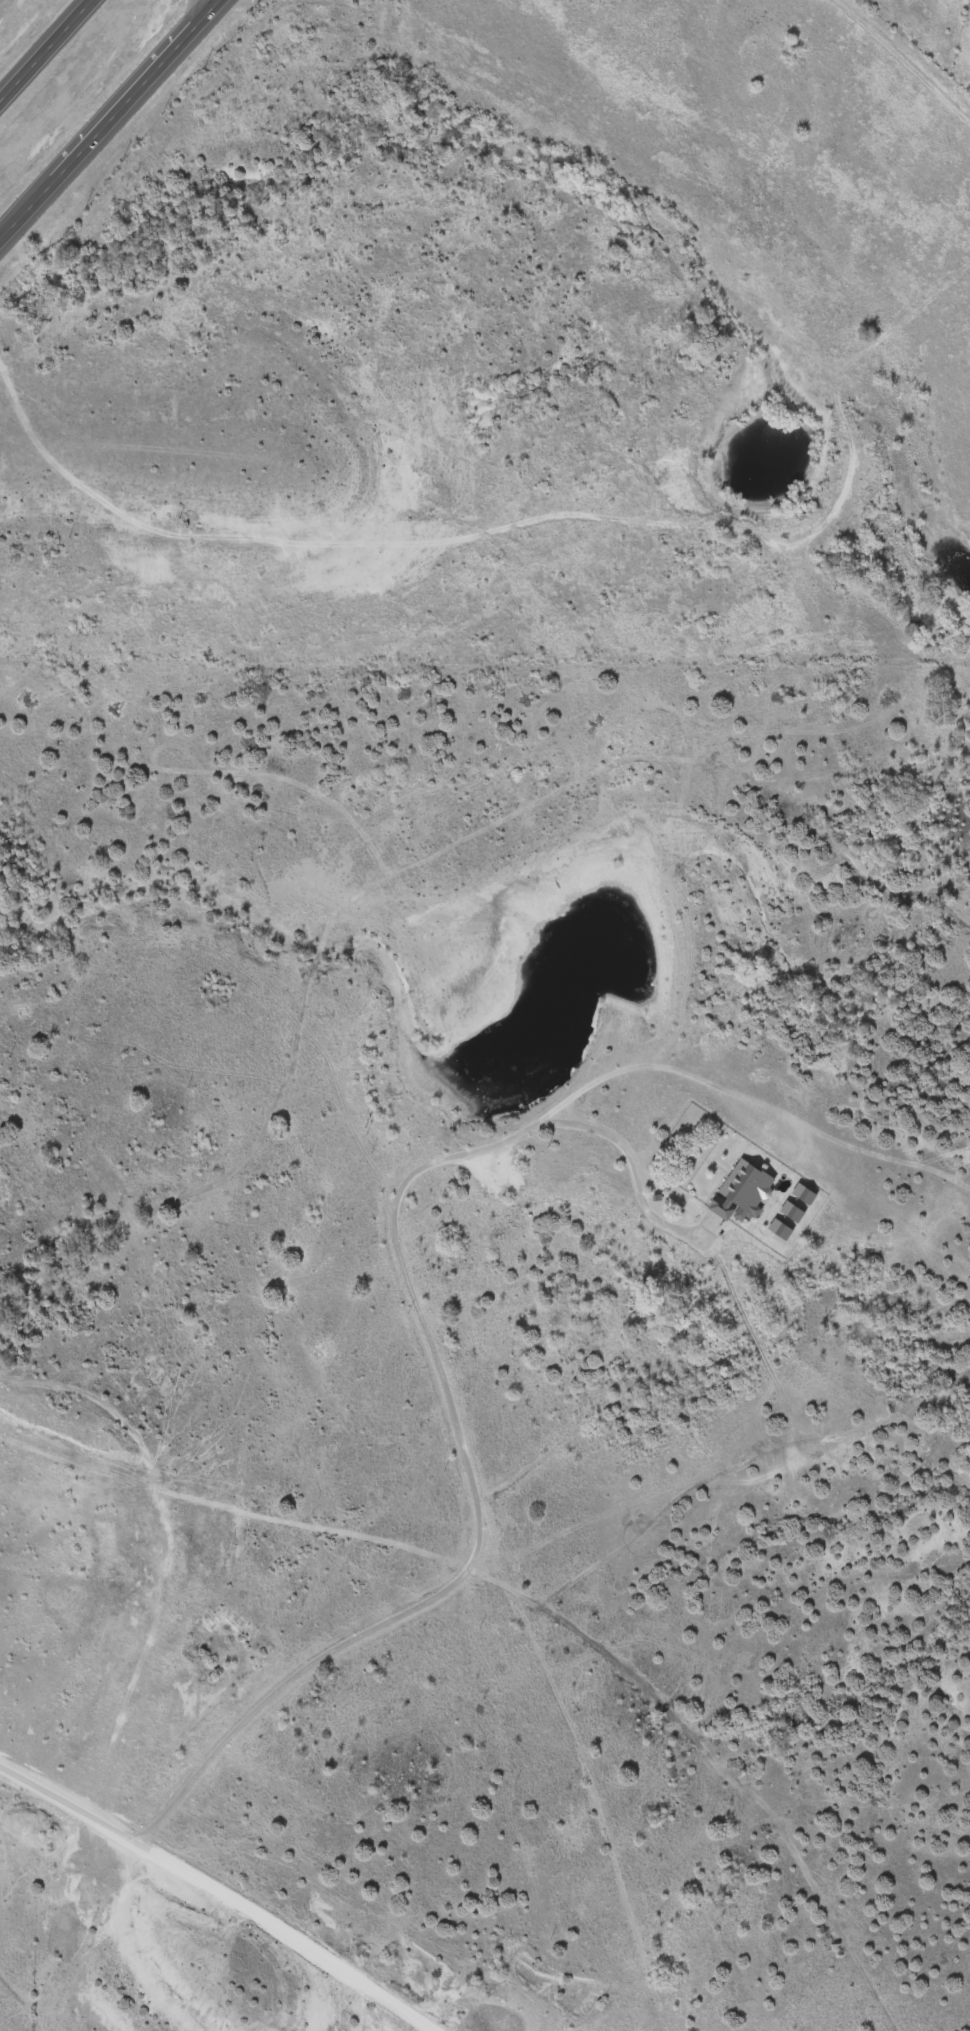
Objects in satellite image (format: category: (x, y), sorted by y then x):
road: (46, 49)
road: (903, 57)
road: (107, 118)
road: (667, 1061)
road: (629, 1171)
building: (741, 1191)
road: (445, 1392)
road: (205, 1751)
road: (212, 1883)

